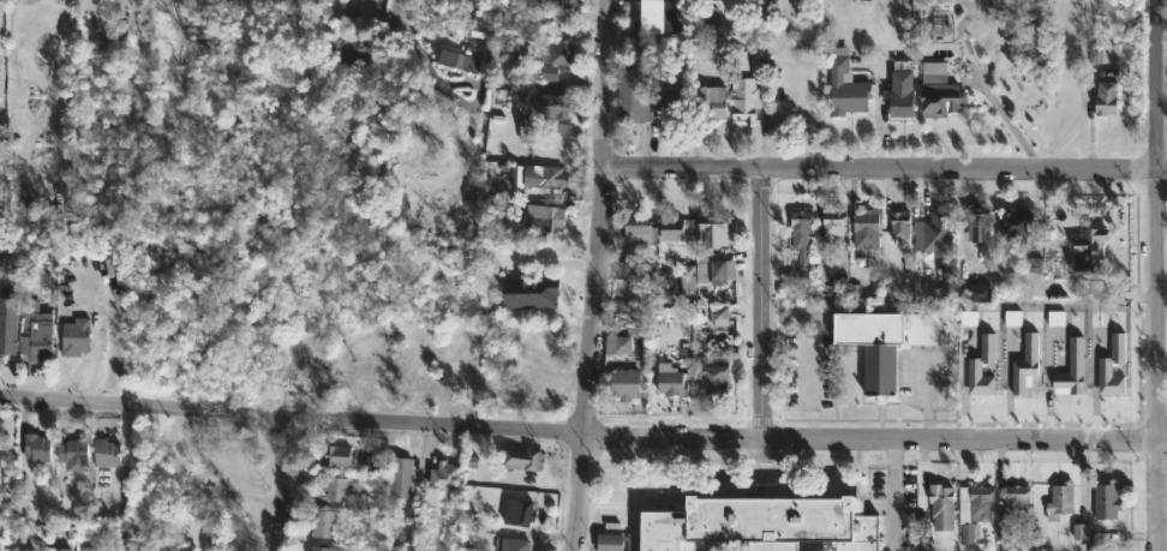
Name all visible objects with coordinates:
building: (163, 0)
building: (173, 1)
building: (567, 2)
building: (119, 14)
building: (652, 16)
building: (346, 48)
building: (523, 50)
building: (647, 52)
building: (557, 53)
road: (420, 60)
building: (459, 61)
building: (549, 72)
building: (845, 86)
building: (743, 90)
building: (634, 95)
building: (938, 96)
building: (1106, 98)
building: (902, 102)
building: (546, 103)
building: (669, 103)
building: (711, 104)
road: (1000, 119)
building: (526, 131)
road: (882, 170)
building: (543, 176)
road: (597, 216)
building: (541, 218)
road: (1157, 221)
building: (867, 223)
building: (833, 224)
building: (899, 226)
building: (974, 226)
building: (1016, 226)
building: (635, 227)
building: (671, 229)
building: (712, 230)
building: (934, 234)
building: (801, 240)
building: (1090, 256)
building: (711, 272)
building: (688, 281)
building: (537, 301)
road: (762, 305)
building: (718, 316)
building: (926, 330)
building: (36, 334)
building: (7, 336)
building: (74, 337)
building: (617, 345)
building: (538, 347)
building: (874, 348)
building: (1028, 361)
building: (982, 366)
building: (1106, 367)
building: (1073, 369)
building: (343, 375)
building: (373, 376)
building: (417, 377)
building: (451, 378)
building: (670, 382)
building: (713, 383)
building: (624, 384)
building: (535, 395)
road: (292, 418)
road: (674, 436)
road: (960, 441)
road: (1162, 443)
building: (36, 447)
building: (106, 451)
building: (73, 454)
building: (336, 454)
building: (522, 457)
building: (378, 461)
building: (445, 475)
building: (182, 477)
building: (400, 477)
road: (285, 479)
building: (334, 487)
road: (577, 492)
building: (1017, 497)
road: (1159, 497)
building: (1060, 499)
building: (1106, 499)
building: (942, 507)
building: (972, 510)
building: (519, 511)
building: (323, 522)
building: (759, 522)
building: (1003, 531)
building: (44, 541)
building: (511, 544)
building: (608, 545)
building: (176, 546)
building: (89, 549)
building: (103, 549)
building: (321, 549)
building: (19, 550)

